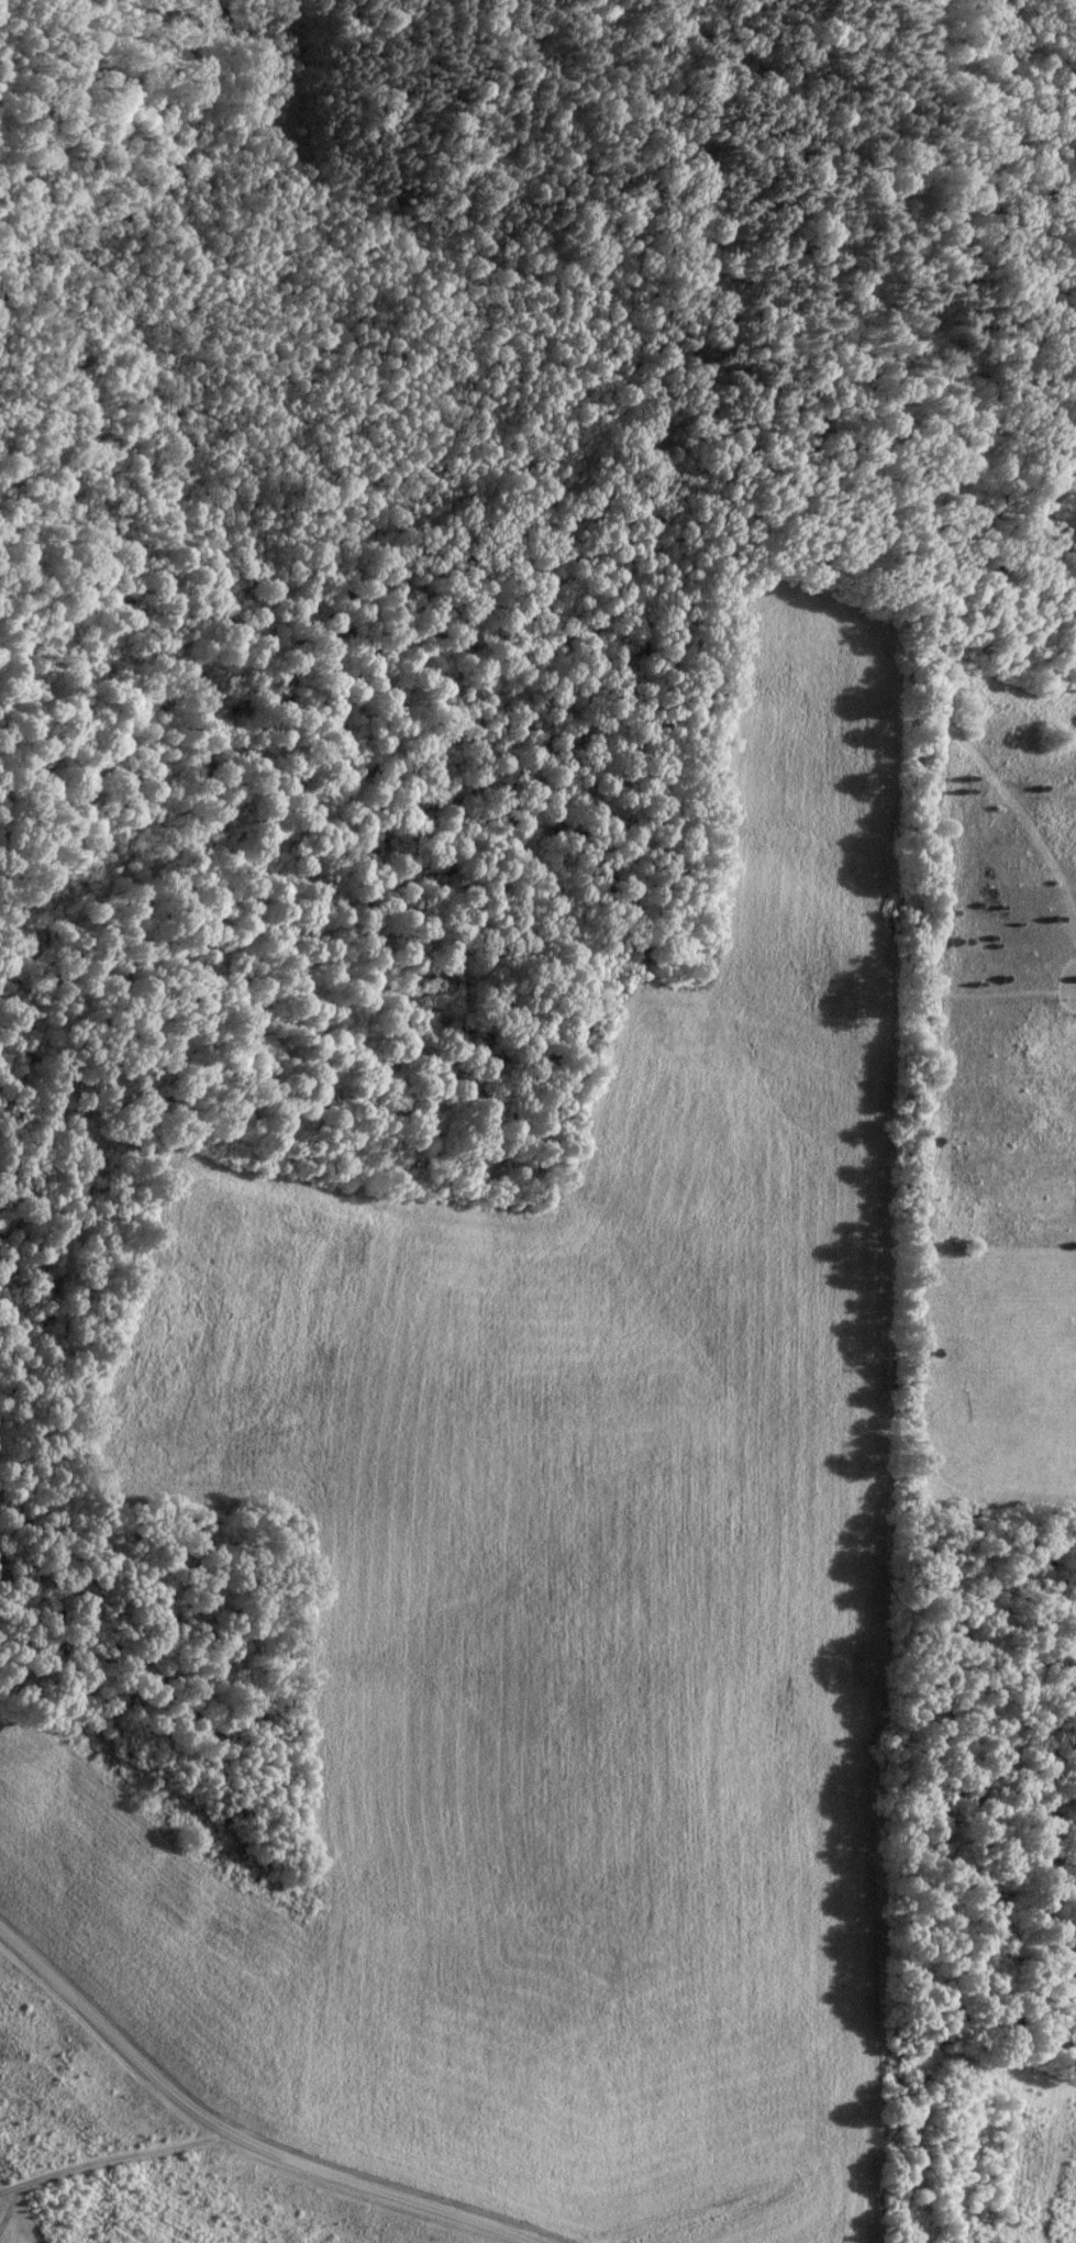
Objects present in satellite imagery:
road: (240, 2135)

